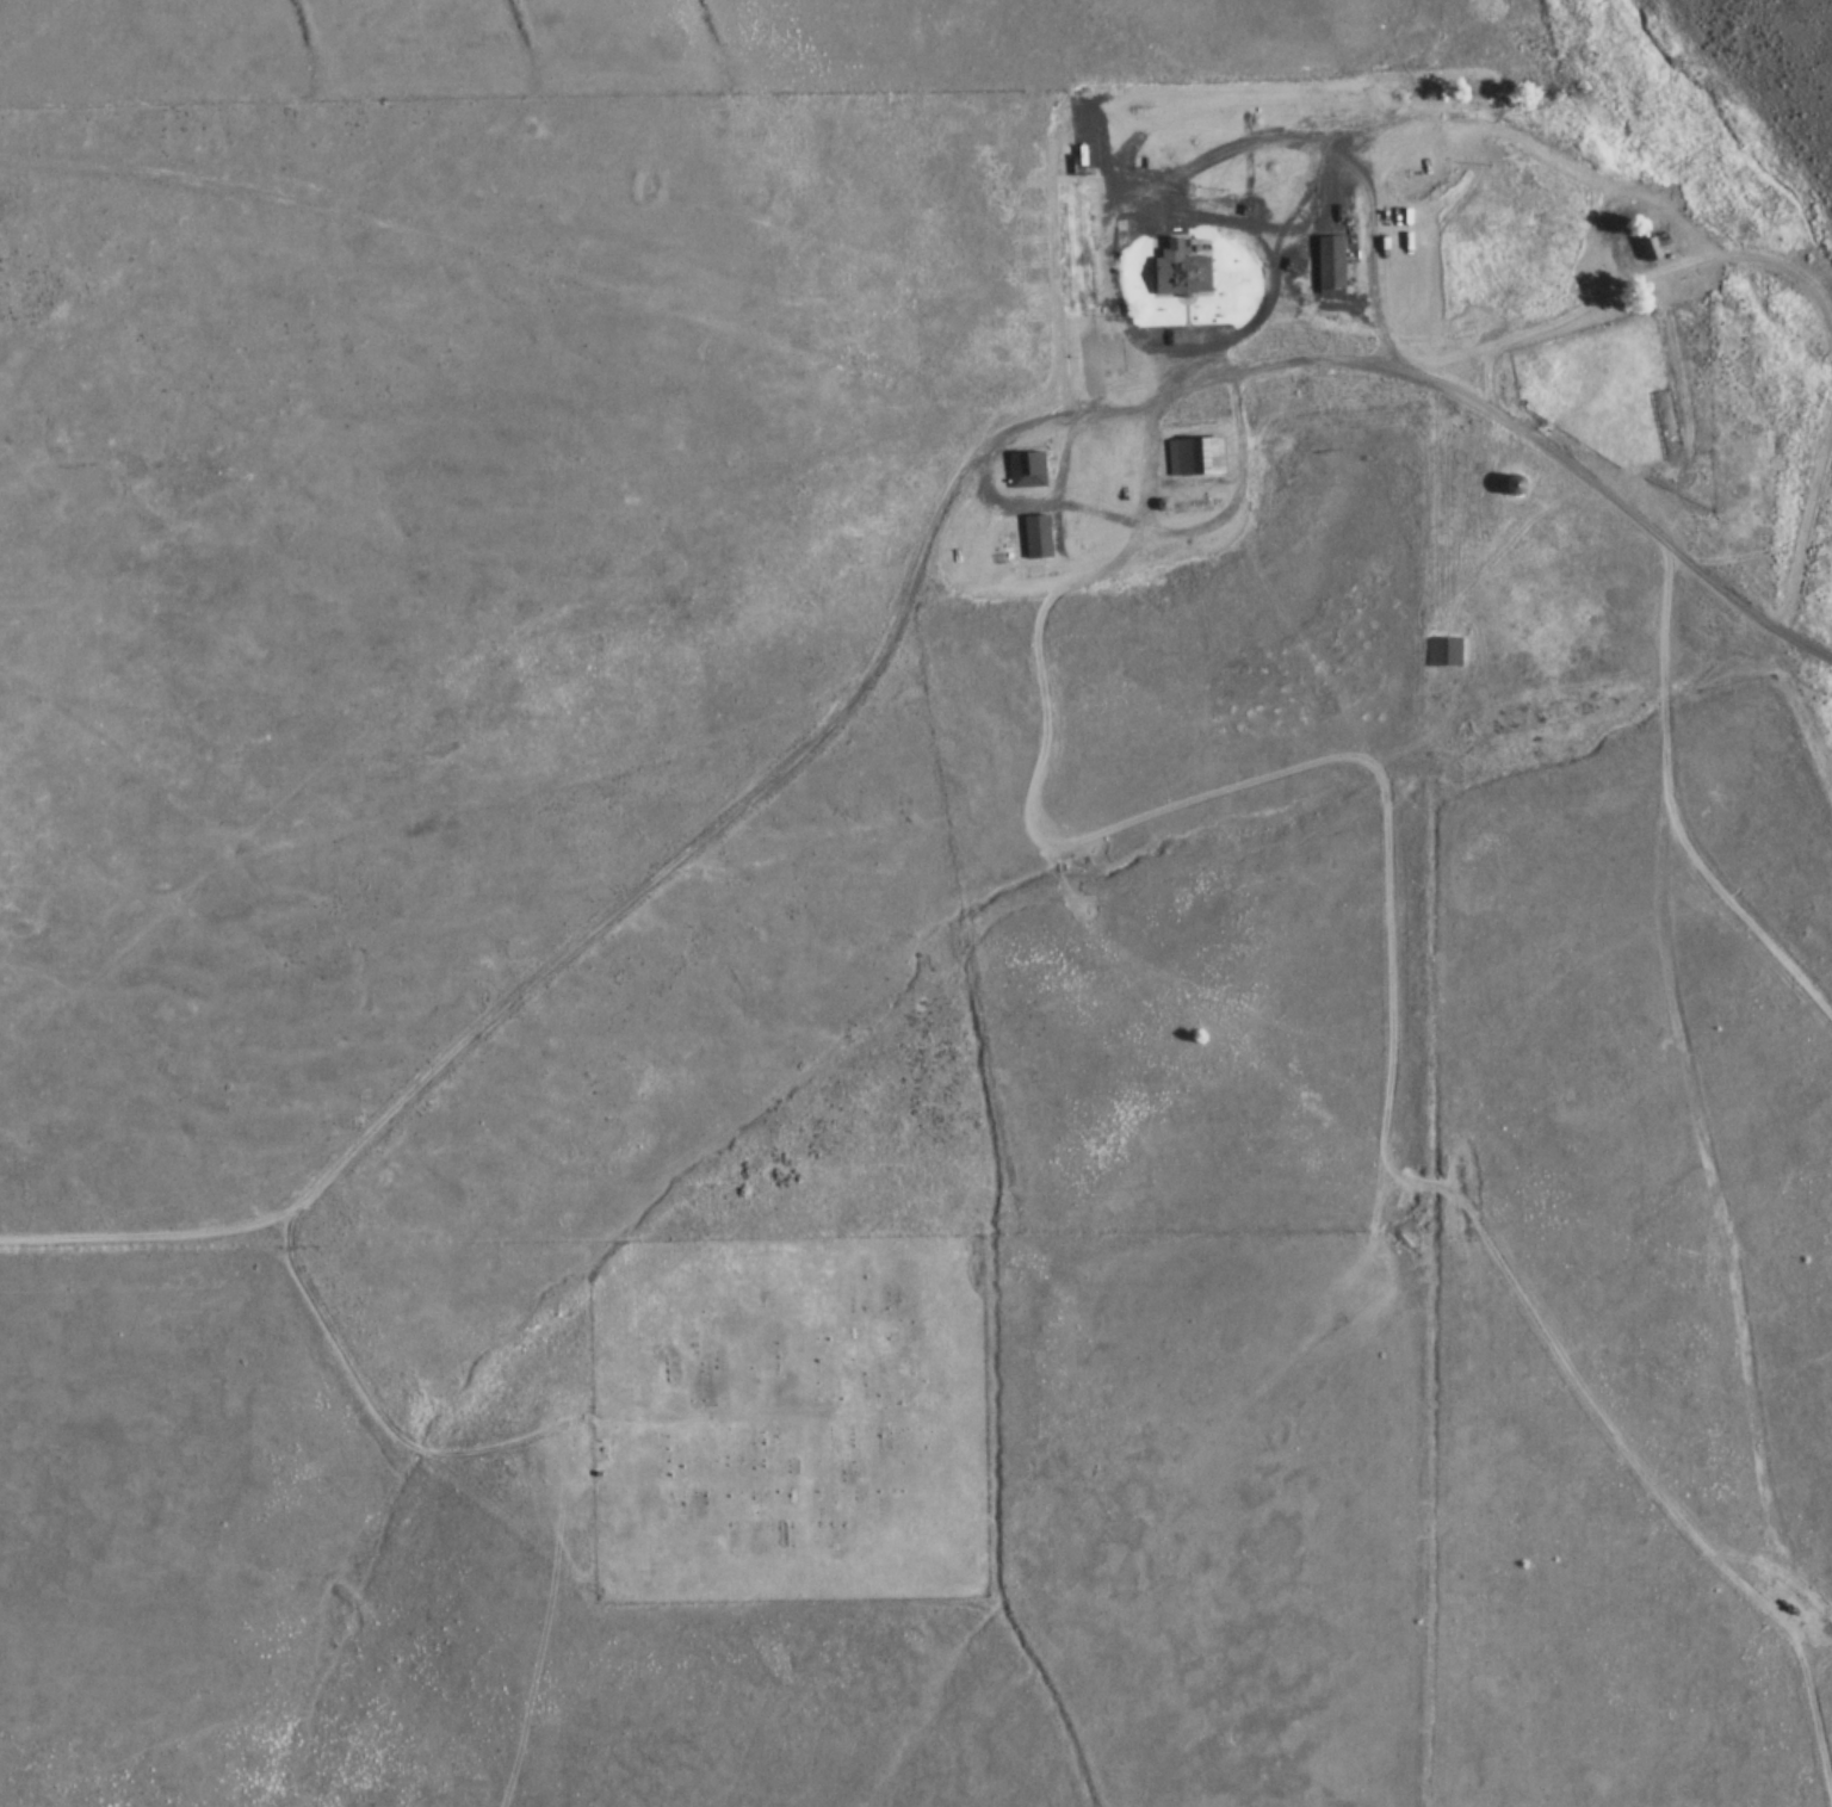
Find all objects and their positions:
building: (1654, 245)
building: (1330, 262)
building: (1180, 276)
building: (1194, 457)
building: (1026, 469)
building: (1509, 484)
building: (1036, 537)
building: (1446, 652)
road: (858, 683)
park: (787, 1416)

